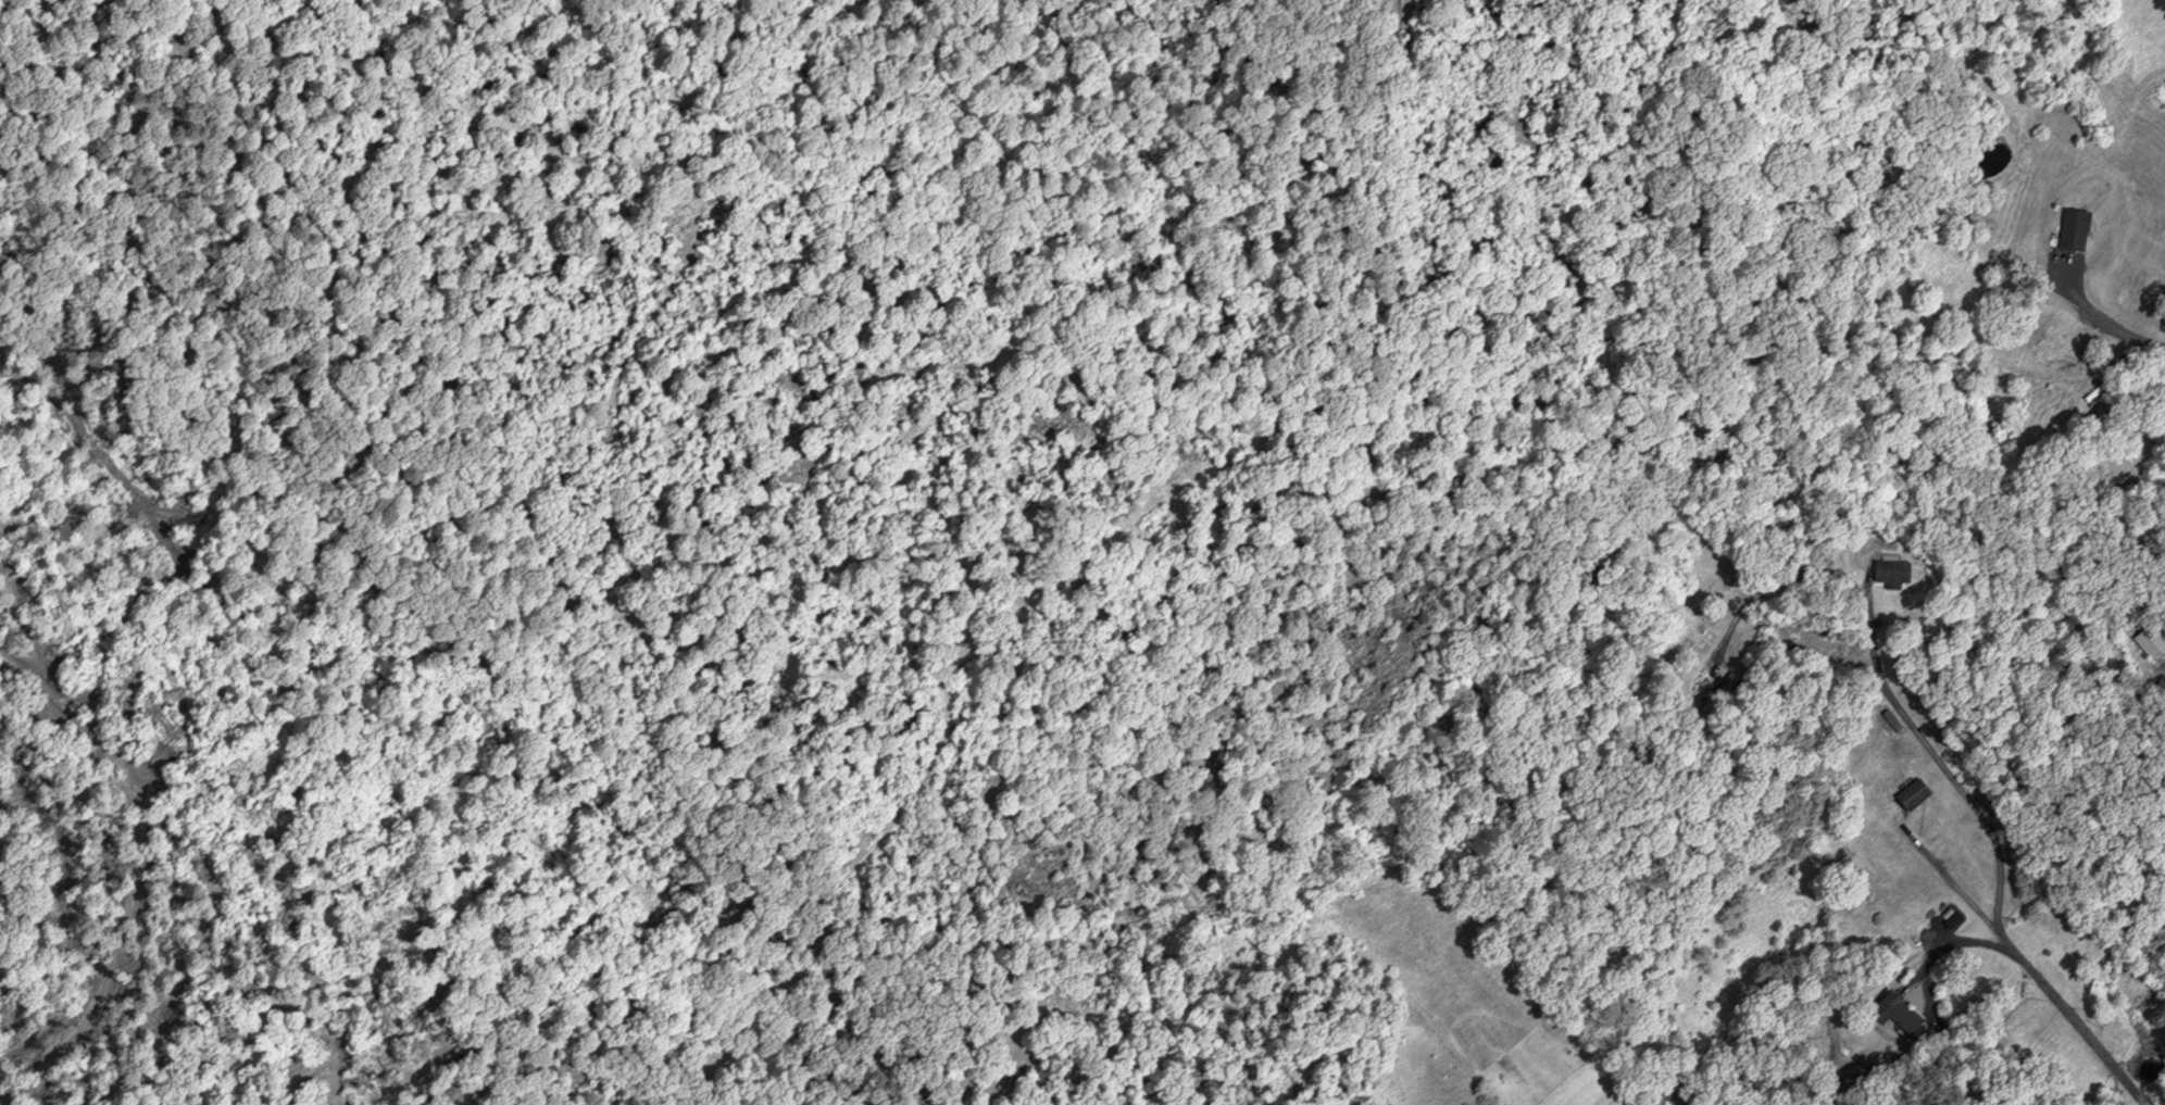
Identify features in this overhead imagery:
building: (1893, 572)
building: (2152, 641)
road: (1877, 673)
building: (1723, 691)
building: (1917, 793)
road: (1957, 941)
road: (2035, 970)
building: (1906, 1009)
building: (1678, 1093)

